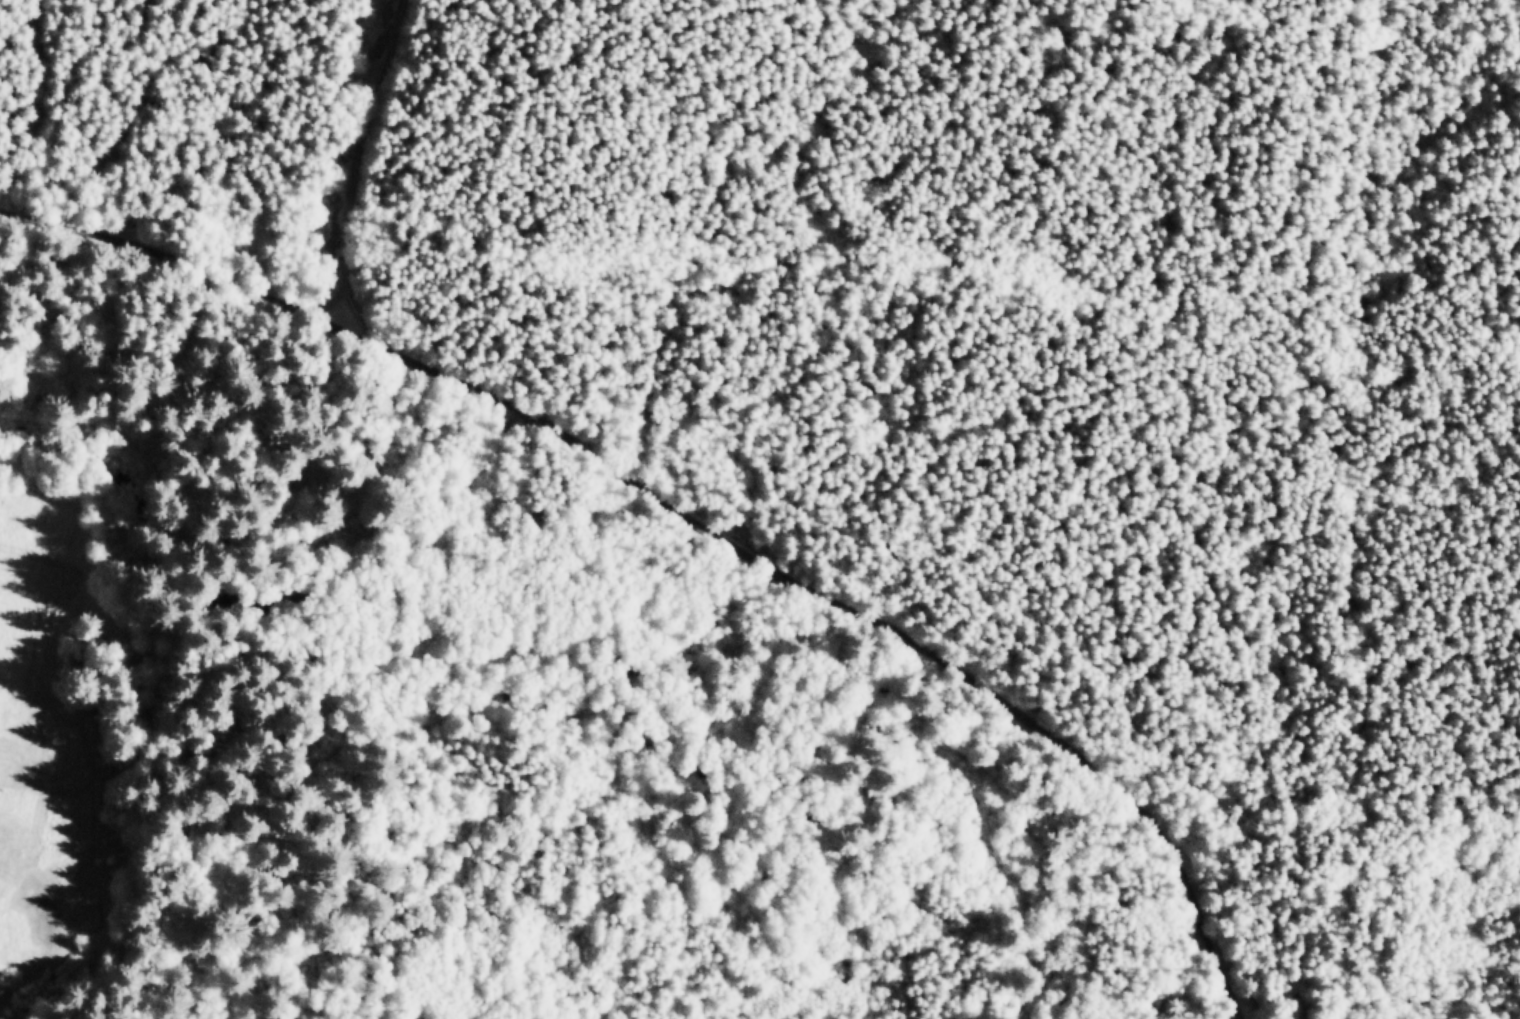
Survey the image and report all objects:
road: (379, 147)
road: (721, 481)

